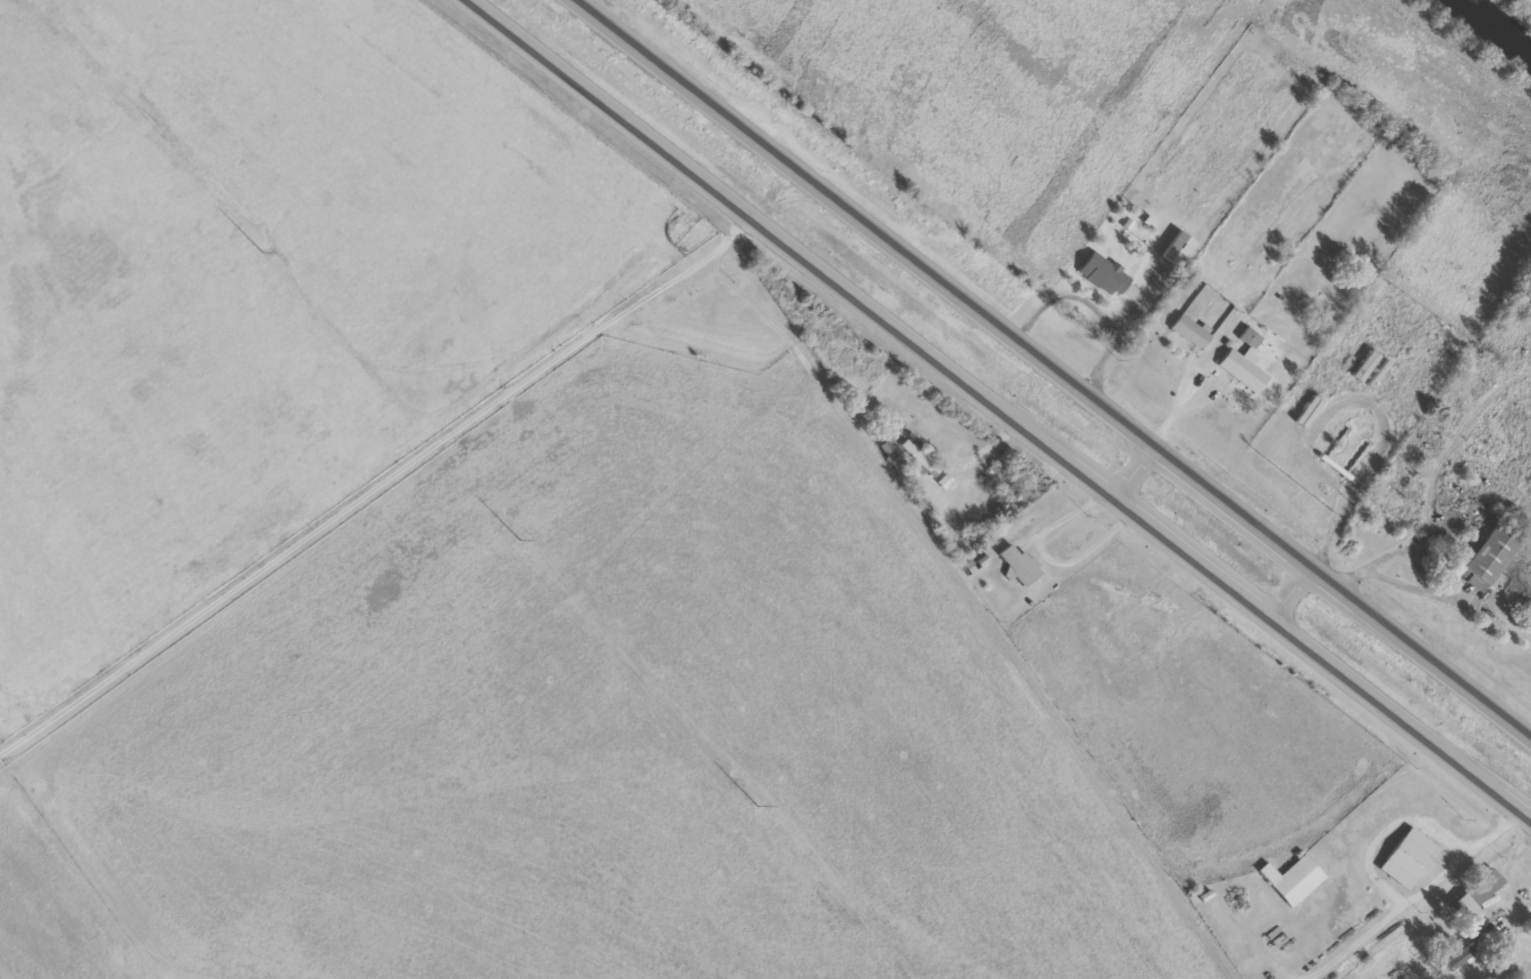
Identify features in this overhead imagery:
railway: (1497, 25)
building: (1178, 248)
building: (1103, 274)
building: (1191, 332)
building: (1247, 336)
road: (1055, 367)
building: (1248, 375)
road: (1002, 408)
road: (1131, 467)
road: (376, 484)
building: (1490, 554)
building: (1020, 565)
road: (1285, 586)
building: (1408, 858)
building: (1292, 878)
building: (1475, 900)
building: (1473, 948)

